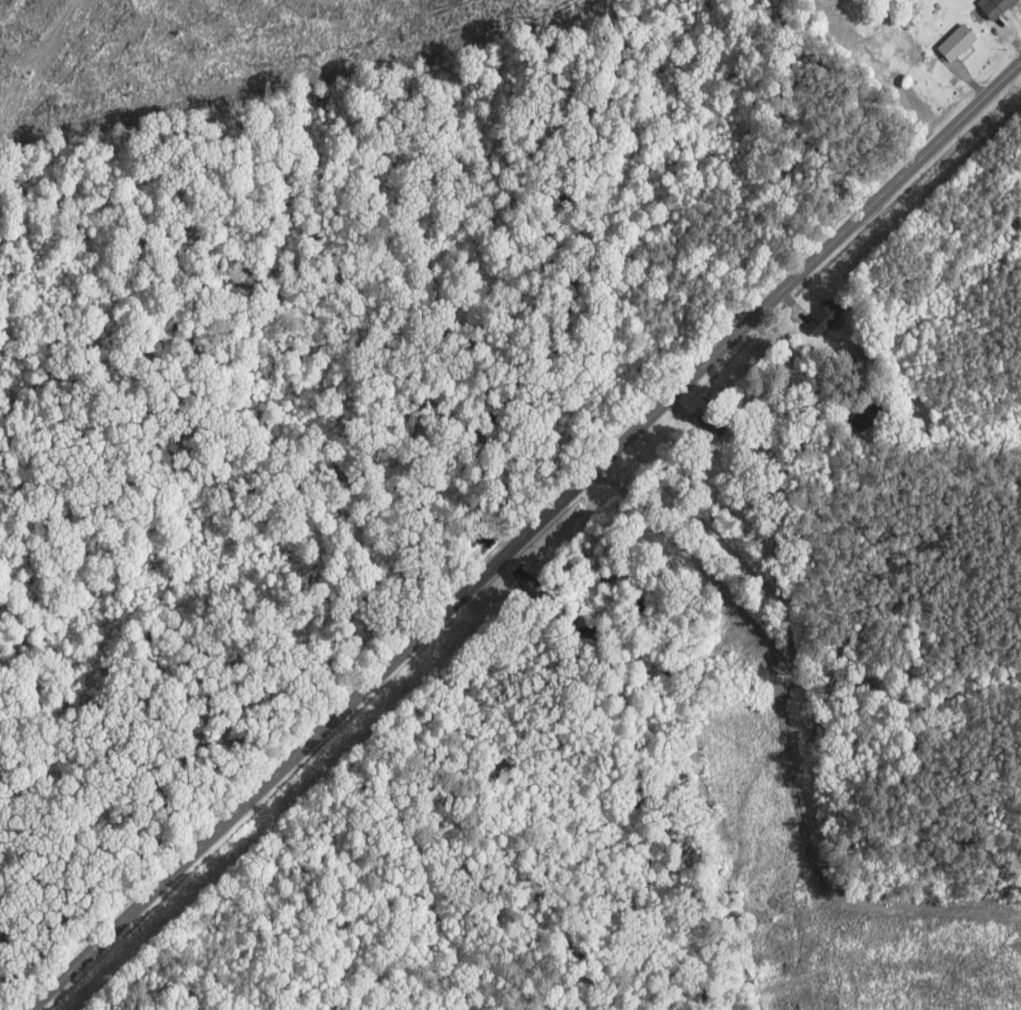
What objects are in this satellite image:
building: (956, 44)
building: (823, 317)
building: (865, 416)
building: (711, 425)
road: (526, 536)

